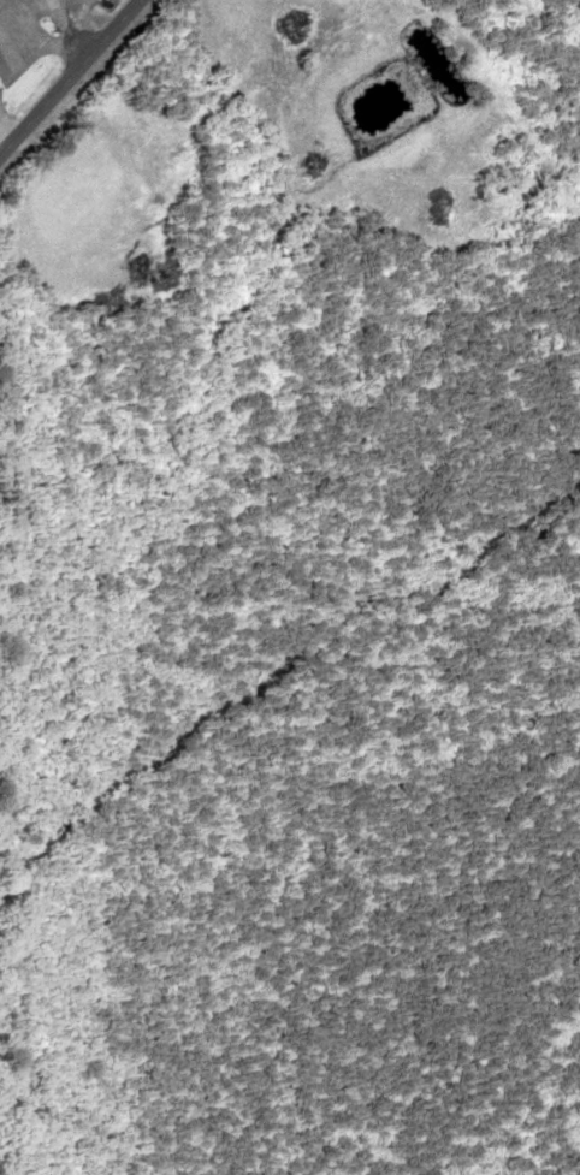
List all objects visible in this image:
road: (67, 77)

